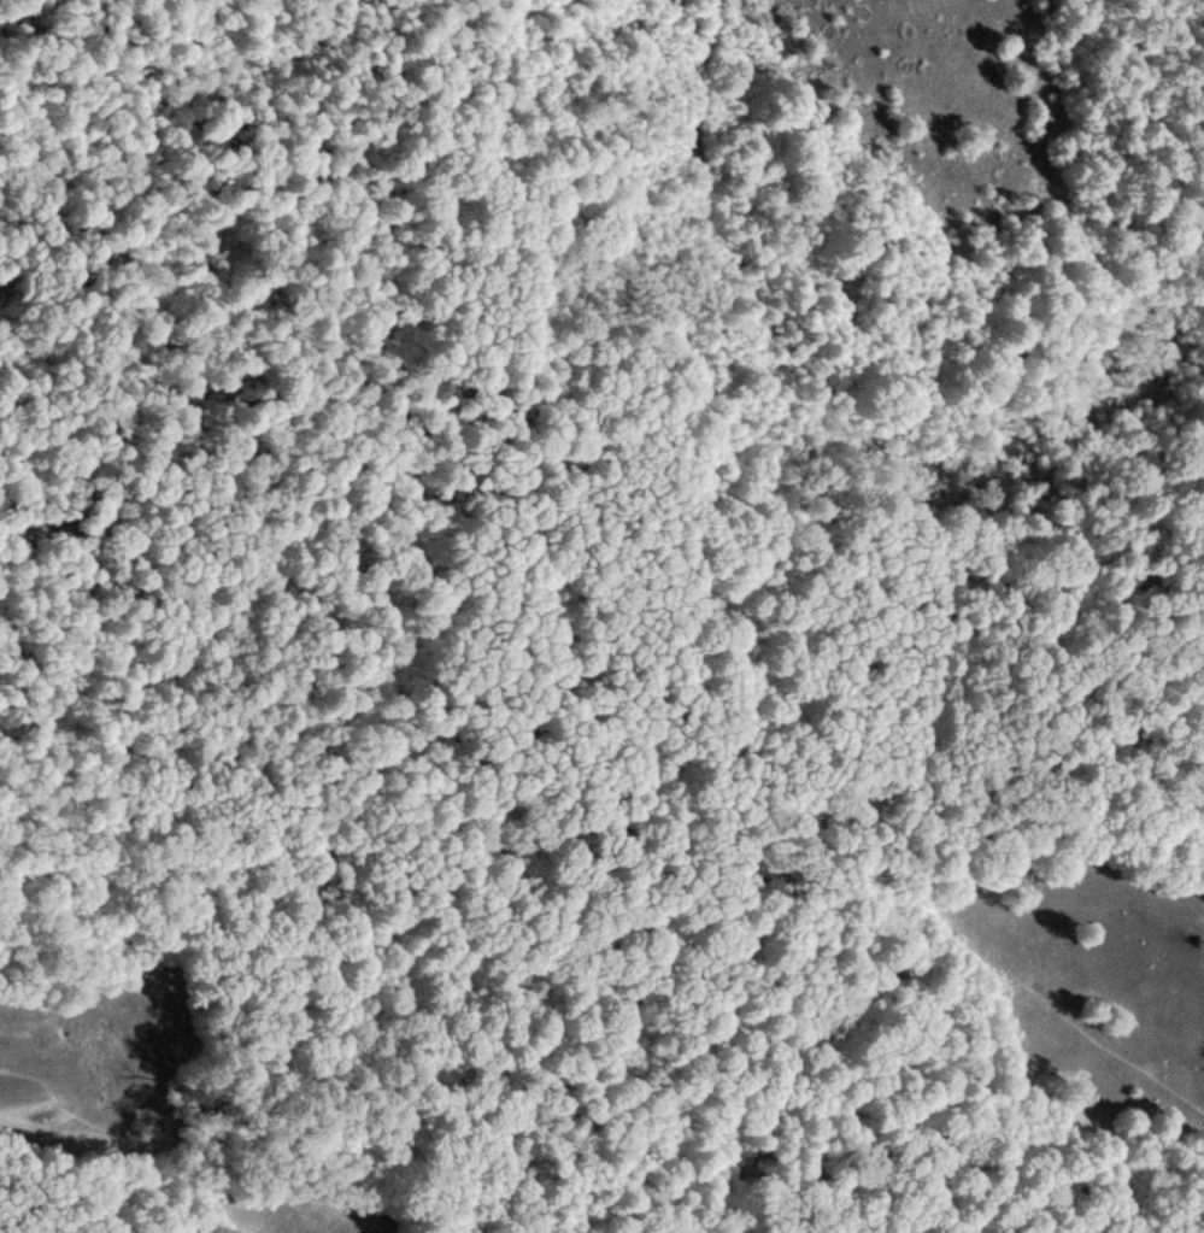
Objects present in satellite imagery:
road: (498, 13)
road: (134, 112)
road: (417, 192)
road: (603, 682)
road: (880, 889)
road: (151, 1137)

